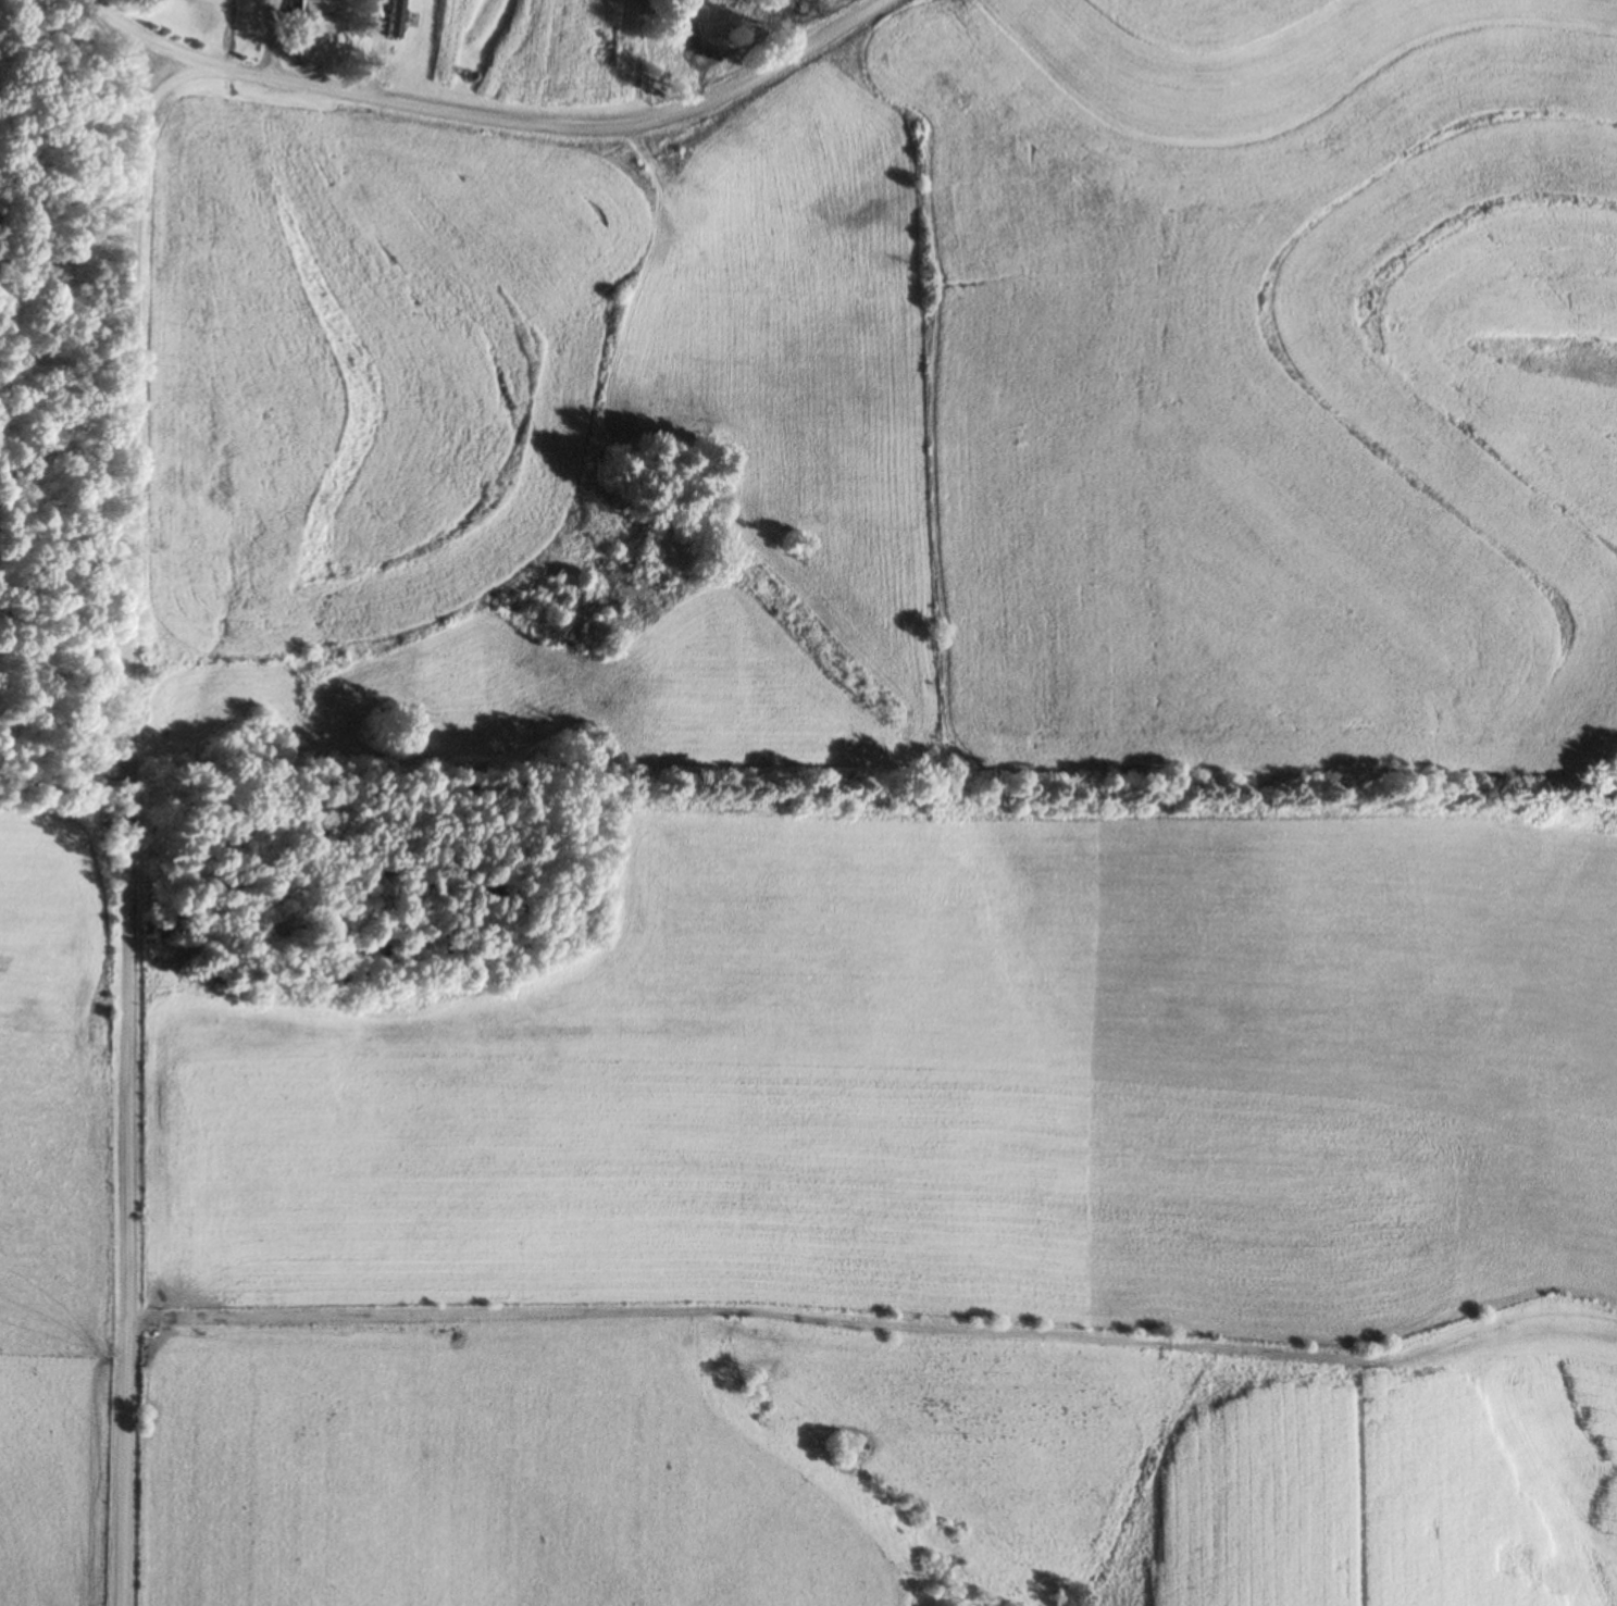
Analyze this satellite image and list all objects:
building: (390, 20)
building: (309, 21)
road: (132, 35)
road: (505, 113)
road: (125, 809)

